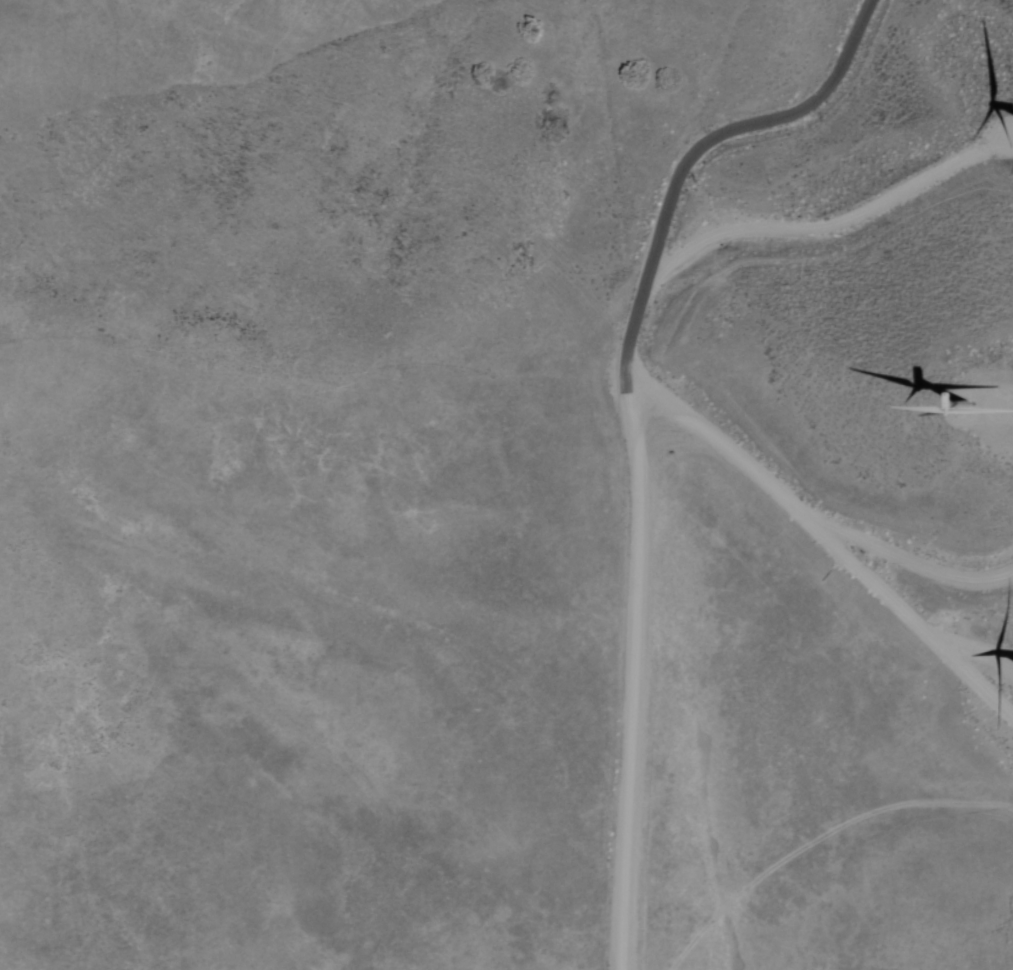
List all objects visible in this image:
wind turbine: (940, 371)
road: (633, 428)

